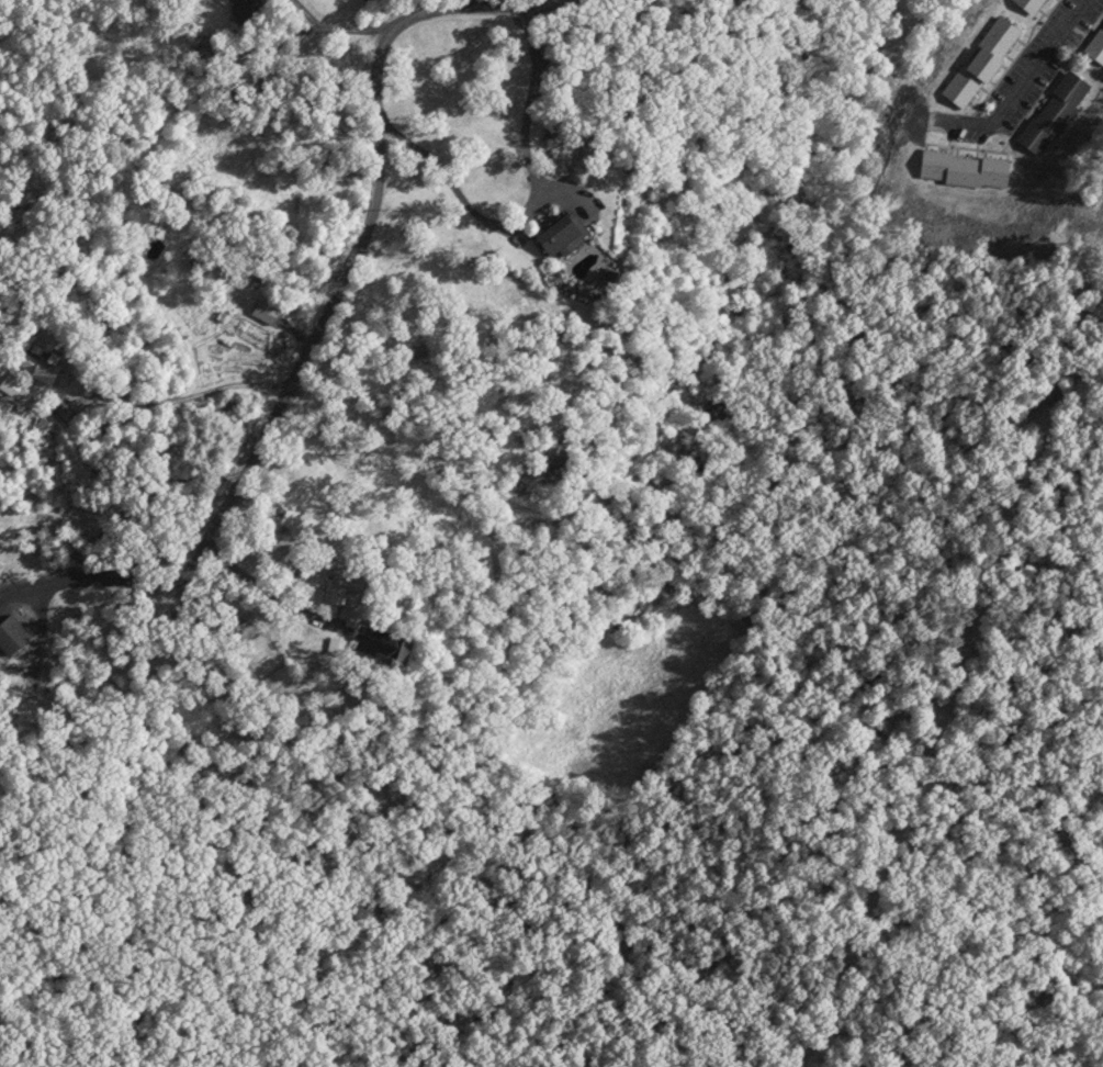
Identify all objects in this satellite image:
building: (1031, 5)
building: (1096, 47)
building: (980, 63)
road: (1025, 87)
building: (1054, 114)
building: (965, 170)
building: (555, 238)
road: (369, 242)

